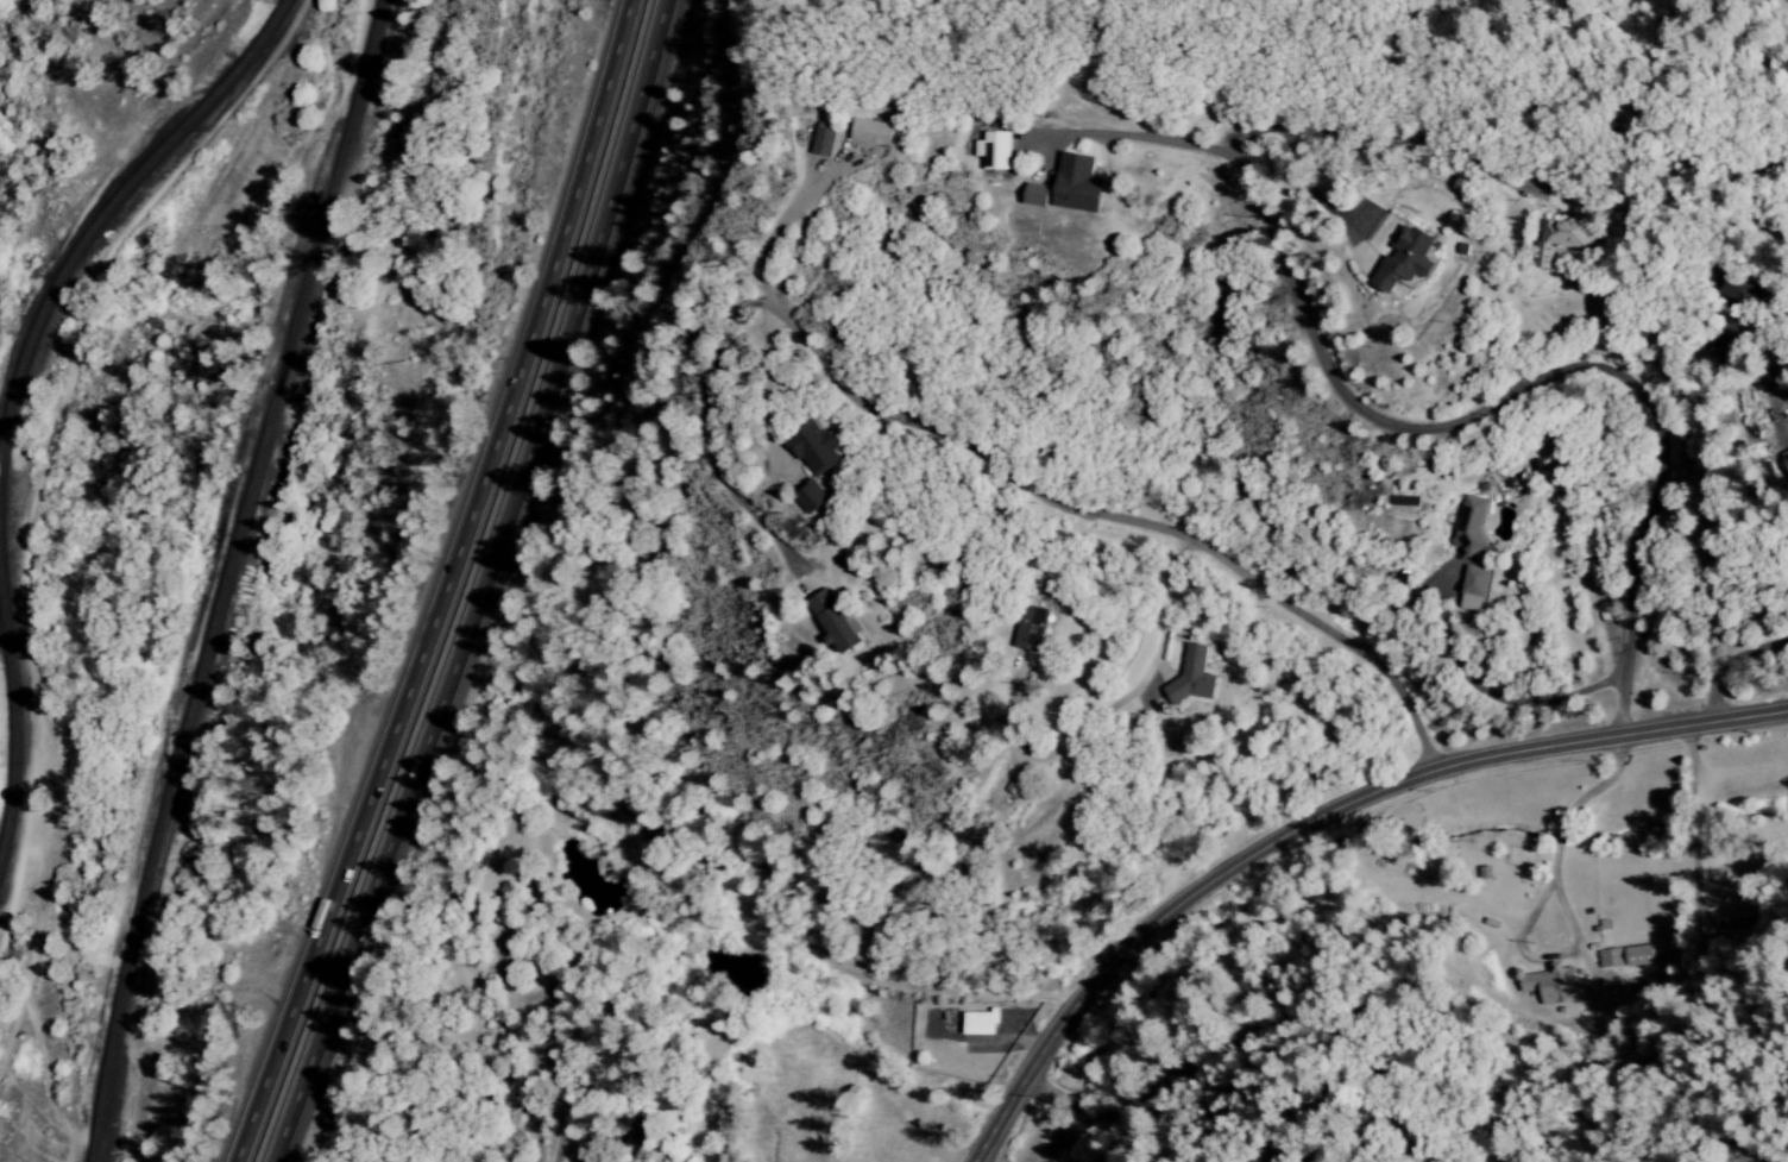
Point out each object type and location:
building: (879, 136)
road: (1127, 137)
road: (1393, 143)
building: (832, 144)
building: (1001, 153)
road: (810, 187)
building: (1083, 187)
building: (1043, 197)
road: (1321, 207)
railway: (106, 214)
road: (1361, 220)
road: (783, 225)
building: (1567, 233)
building: (1411, 262)
building: (1737, 290)
road: (1782, 310)
road: (1783, 379)
road: (1524, 388)
road: (768, 395)
road: (1786, 398)
road: (1786, 409)
road: (704, 438)
building: (821, 452)
building: (1786, 458)
building: (818, 502)
road: (1114, 521)
building: (1471, 523)
railway: (231, 579)
road: (496, 586)
road: (455, 588)
building: (1474, 589)
building: (841, 620)
building: (1030, 628)
road: (1727, 664)
building: (1194, 677)
road: (1478, 692)
railway: (13, 704)
road: (1108, 709)
road: (1595, 790)
road: (1311, 819)
road: (1556, 840)
road: (1562, 915)
road: (1515, 951)
building: (1626, 956)
building: (1551, 985)
building: (980, 1023)
road: (1026, 1034)
road: (1003, 1049)
road: (1047, 1094)

